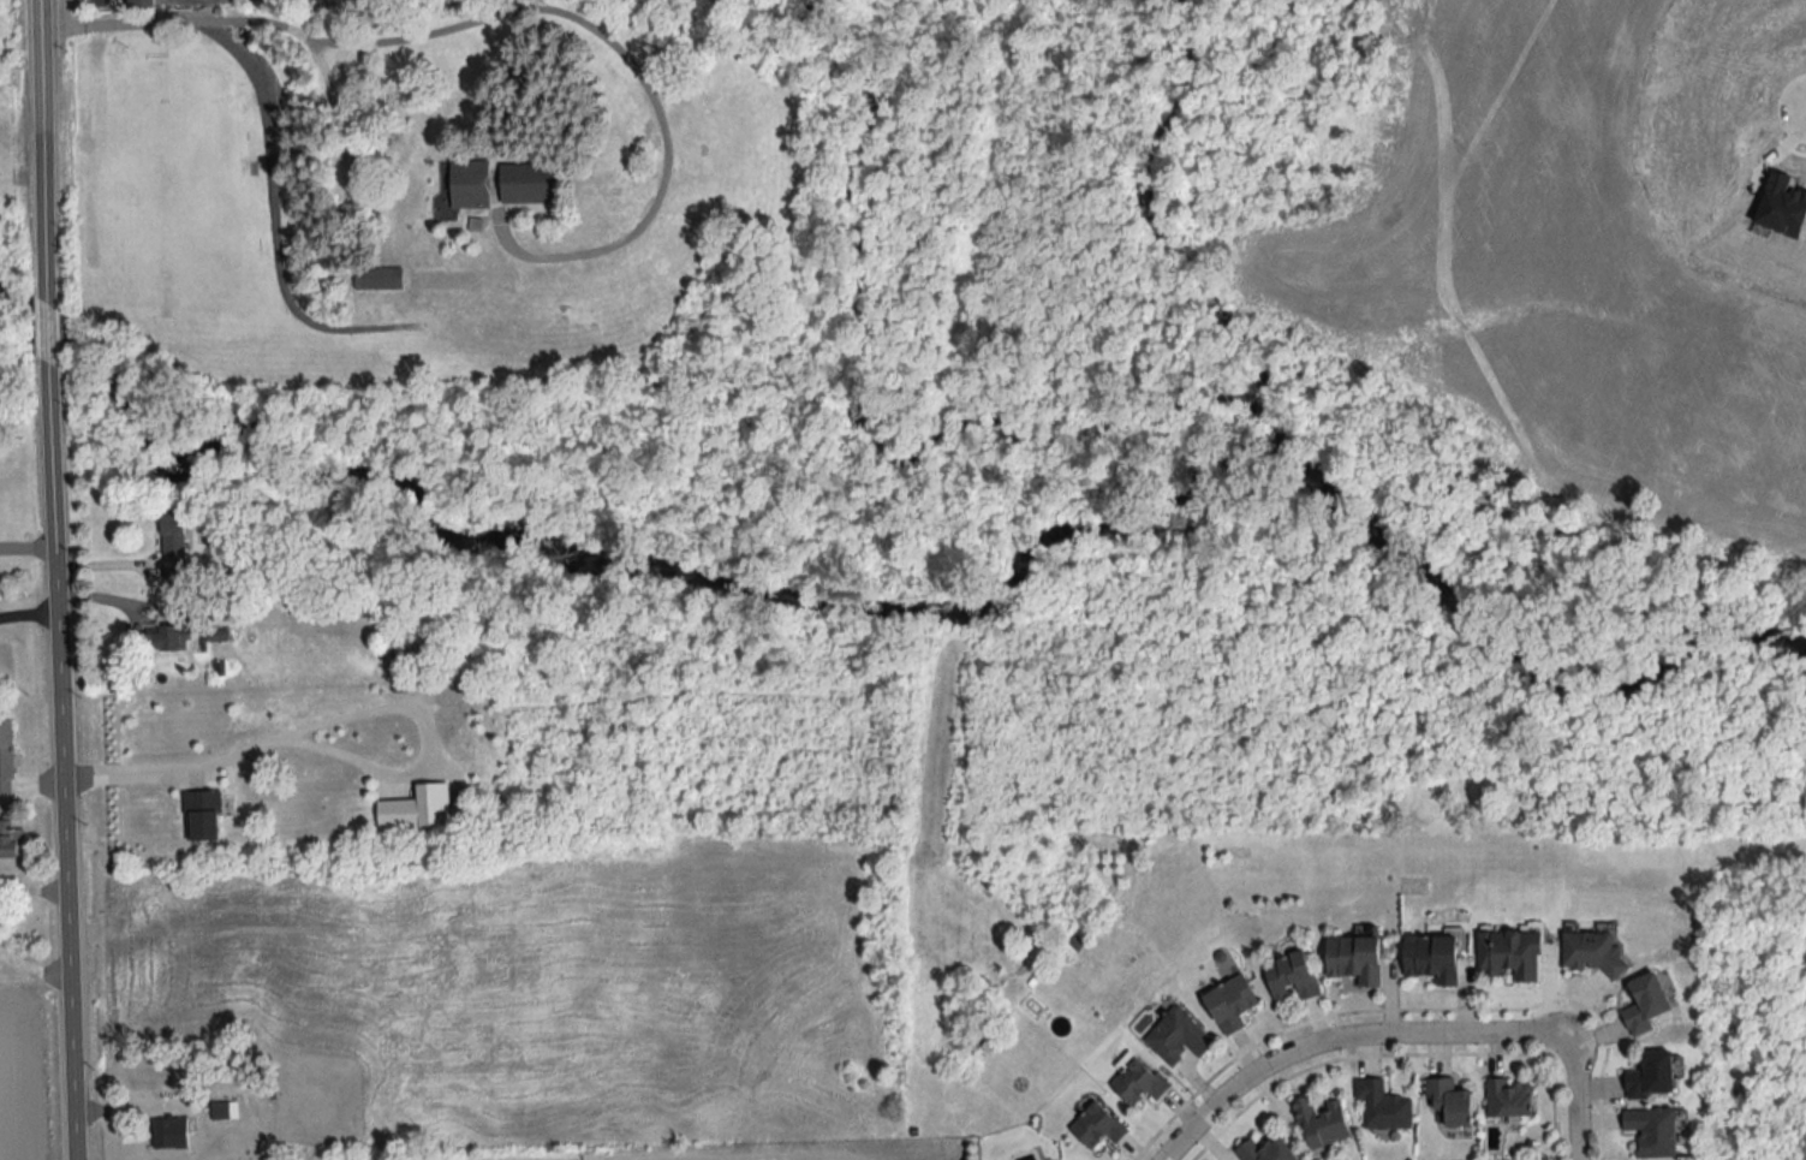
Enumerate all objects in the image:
building: (138, 0)
road: (482, 19)
building: (502, 183)
road: (272, 189)
building: (377, 279)
building: (172, 546)
road: (26, 548)
road: (56, 579)
road: (29, 611)
building: (216, 636)
building: (167, 640)
building: (5, 755)
road: (217, 766)
building: (201, 814)
building: (11, 839)
building: (1592, 947)
building: (1510, 953)
building: (1432, 957)
building: (1354, 959)
building: (1291, 976)
building: (1230, 1001)
building: (1646, 1003)
building: (1176, 1035)
road: (1341, 1037)
building: (1652, 1076)
building: (1137, 1081)
crop: (22, 1084)
building: (1509, 1096)
road: (1575, 1099)
building: (1450, 1101)
building: (1382, 1106)
building: (219, 1110)
building: (1321, 1122)
building: (1097, 1126)
building: (1652, 1131)
building: (169, 1132)
building: (1266, 1150)

